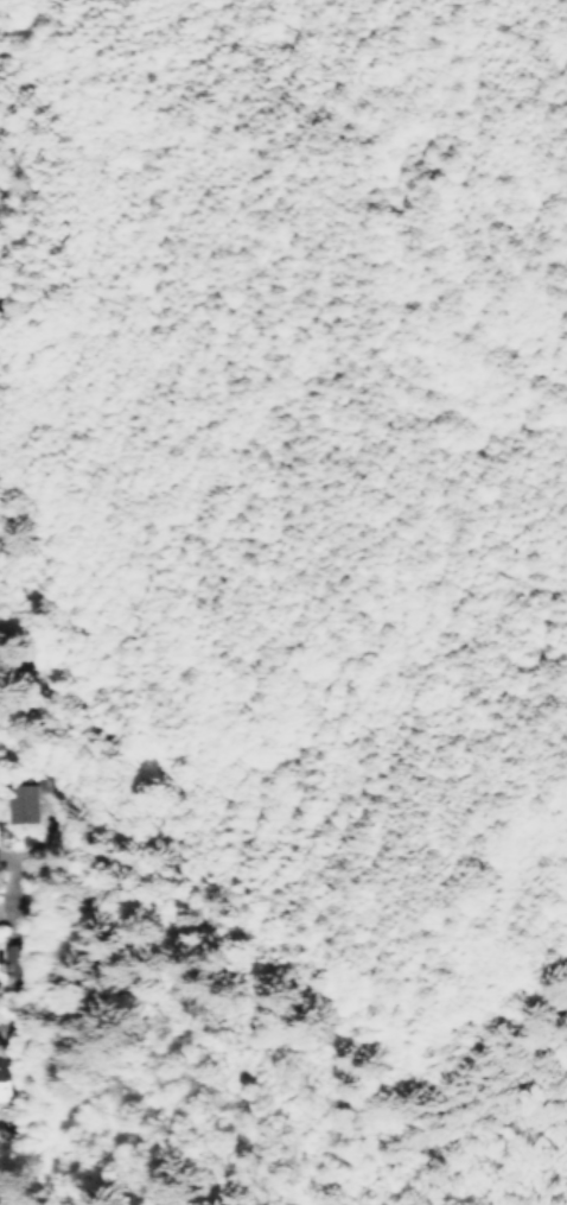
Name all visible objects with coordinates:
road: (374, 133)
road: (383, 300)

